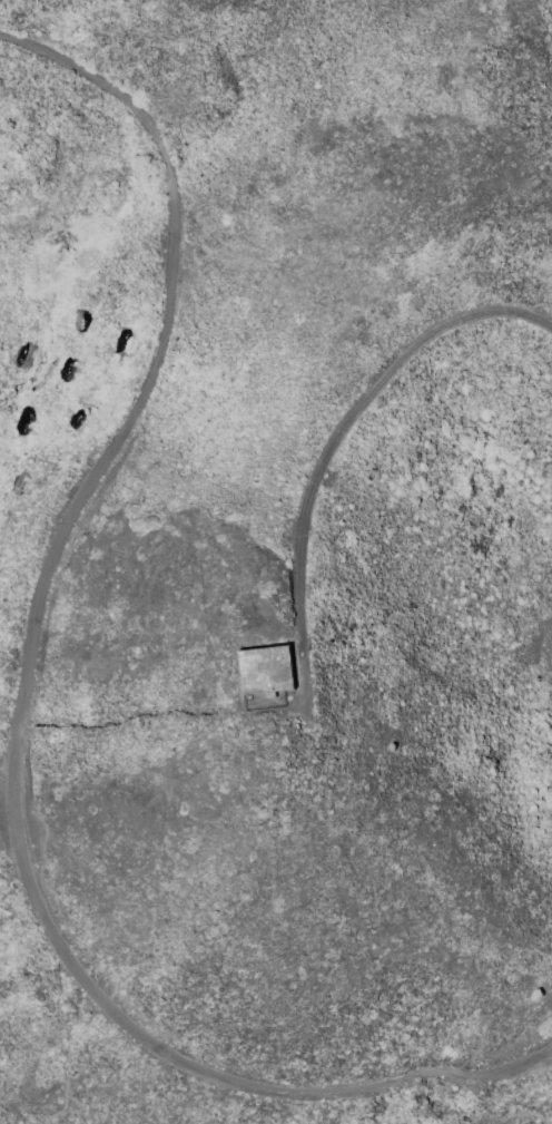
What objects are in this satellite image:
road: (341, 444)
building: (266, 673)
road: (27, 712)

